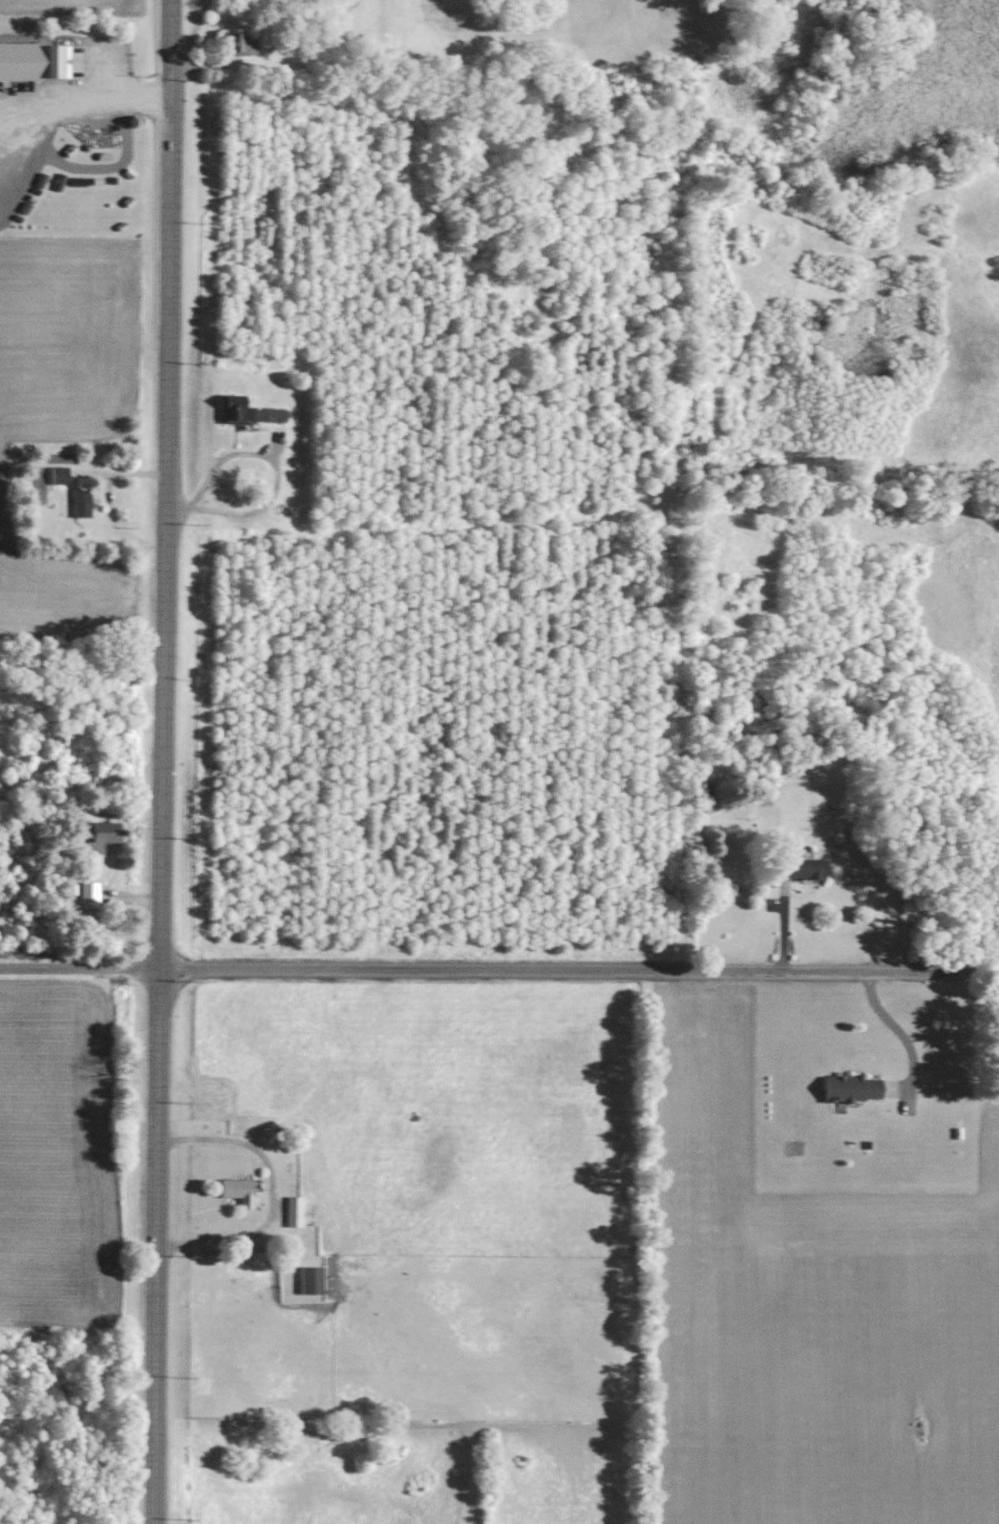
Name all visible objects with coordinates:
building: (239, 44)
building: (48, 62)
road: (84, 104)
building: (252, 413)
road: (257, 459)
building: (61, 475)
building: (83, 503)
road: (175, 513)
road: (159, 761)
building: (103, 837)
building: (803, 869)
building: (90, 896)
road: (499, 974)
road: (904, 1035)
building: (855, 1088)
building: (239, 1189)
road: (274, 1191)
building: (296, 1212)

